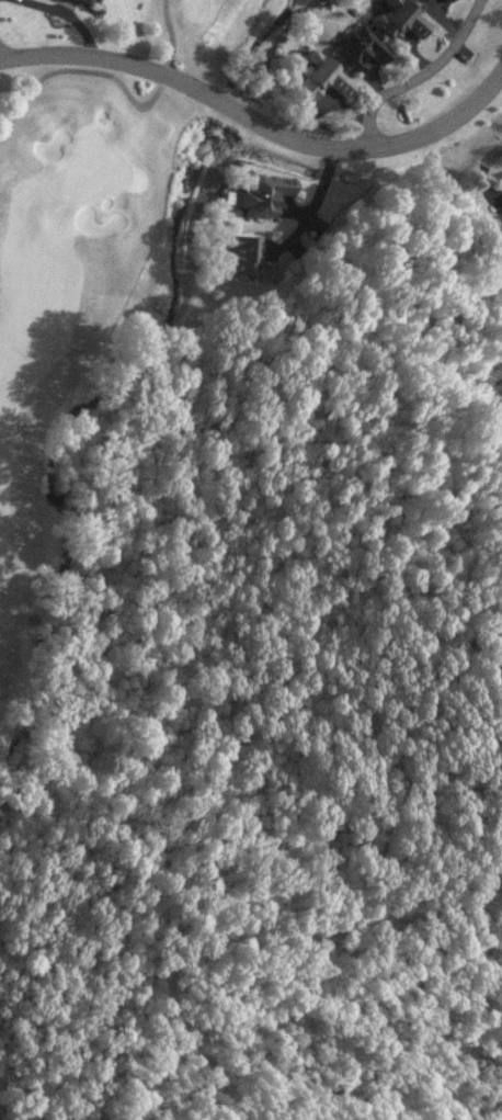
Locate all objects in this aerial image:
building: (91, 0)
building: (419, 0)
building: (421, 0)
building: (447, 0)
building: (393, 18)
building: (358, 46)
building: (313, 76)
road: (415, 76)
road: (119, 83)
road: (258, 126)
road: (492, 150)
building: (261, 193)
road: (308, 201)
building: (499, 207)
building: (241, 257)
park: (92, 259)
park: (21, 1087)

